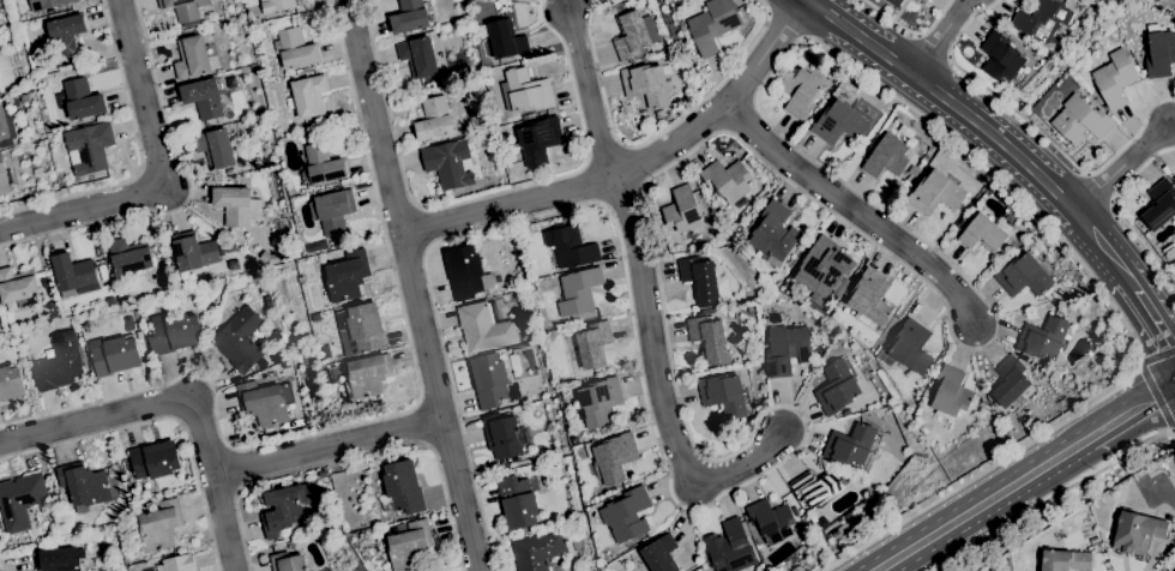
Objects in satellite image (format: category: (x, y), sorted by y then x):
building: (1157, 0)
building: (1174, 0)
building: (894, 2)
building: (48, 4)
building: (276, 5)
building: (619, 7)
building: (185, 10)
building: (52, 12)
building: (41, 13)
road: (767, 14)
building: (409, 17)
building: (1042, 19)
building: (255, 20)
building: (287, 24)
road: (787, 24)
building: (711, 25)
road: (909, 31)
building: (634, 34)
building: (66, 35)
road: (917, 36)
road: (803, 37)
road: (939, 37)
building: (505, 40)
road: (932, 48)
building: (296, 49)
building: (1159, 54)
building: (418, 56)
building: (192, 58)
road: (948, 58)
building: (1002, 59)
building: (1115, 78)
building: (1067, 79)
road: (922, 83)
building: (646, 85)
building: (528, 91)
building: (800, 92)
building: (309, 96)
road: (592, 97)
building: (203, 98)
building: (79, 100)
building: (16, 104)
building: (659, 114)
building: (528, 116)
building: (434, 120)
building: (1080, 121)
building: (47, 122)
building: (466, 122)
building: (5, 124)
building: (839, 124)
road: (1035, 128)
building: (906, 132)
road: (653, 137)
building: (537, 142)
building: (89, 148)
building: (945, 148)
building: (215, 149)
road: (140, 156)
building: (886, 156)
building: (448, 164)
building: (321, 166)
road: (1120, 168)
road: (634, 170)
building: (914, 172)
road: (1087, 174)
building: (2, 176)
road: (159, 178)
road: (781, 178)
building: (1174, 180)
building: (727, 181)
road: (1098, 190)
road: (1054, 192)
building: (935, 193)
road: (188, 194)
road: (483, 196)
building: (450, 197)
road: (1111, 203)
building: (1005, 204)
building: (1159, 205)
building: (236, 206)
building: (332, 211)
building: (683, 212)
road: (1117, 214)
road: (849, 215)
building: (773, 234)
building: (982, 234)
road: (1101, 244)
building: (229, 247)
building: (568, 247)
building: (192, 252)
building: (128, 257)
building: (269, 258)
building: (820, 268)
building: (468, 274)
building: (73, 275)
building: (1024, 276)
building: (186, 277)
building: (345, 277)
building: (700, 280)
road: (412, 284)
road: (1133, 284)
building: (16, 287)
building: (579, 291)
building: (49, 293)
building: (870, 299)
building: (109, 301)
building: (52, 308)
building: (752, 308)
road: (1156, 320)
building: (91, 321)
building: (731, 325)
building: (824, 325)
building: (484, 327)
building: (361, 330)
building: (173, 333)
building: (275, 336)
building: (1043, 338)
building: (240, 341)
building: (709, 341)
building: (593, 344)
building: (911, 348)
building: (787, 349)
building: (817, 350)
building: (48, 354)
building: (115, 356)
building: (276, 356)
building: (60, 363)
building: (264, 365)
building: (284, 365)
building: (366, 375)
building: (489, 381)
building: (1010, 381)
building: (11, 384)
road: (662, 386)
building: (836, 389)
building: (951, 393)
road: (185, 395)
building: (723, 395)
road: (1157, 398)
building: (265, 402)
building: (597, 402)
road: (418, 403)
building: (848, 410)
road: (1132, 411)
road: (386, 416)
road: (163, 419)
road: (423, 425)
building: (502, 438)
building: (573, 440)
building: (850, 445)
road: (329, 447)
road: (429, 447)
road: (229, 449)
road: (355, 457)
building: (613, 457)
road: (1056, 458)
building: (153, 461)
road: (234, 469)
building: (323, 474)
building: (293, 479)
building: (84, 486)
building: (403, 487)
building: (815, 488)
road: (239, 489)
road: (1054, 495)
building: (20, 500)
building: (517, 503)
building: (283, 510)
building: (626, 515)
building: (849, 516)
building: (398, 517)
building: (771, 521)
road: (950, 524)
building: (161, 525)
building: (0, 528)
building: (1135, 533)
building: (7, 542)
building: (410, 546)
building: (729, 548)
building: (537, 551)
building: (659, 554)
building: (56, 560)
building: (1066, 560)
building: (179, 563)
building: (287, 563)
building: (158, 567)
road: (1, 569)

